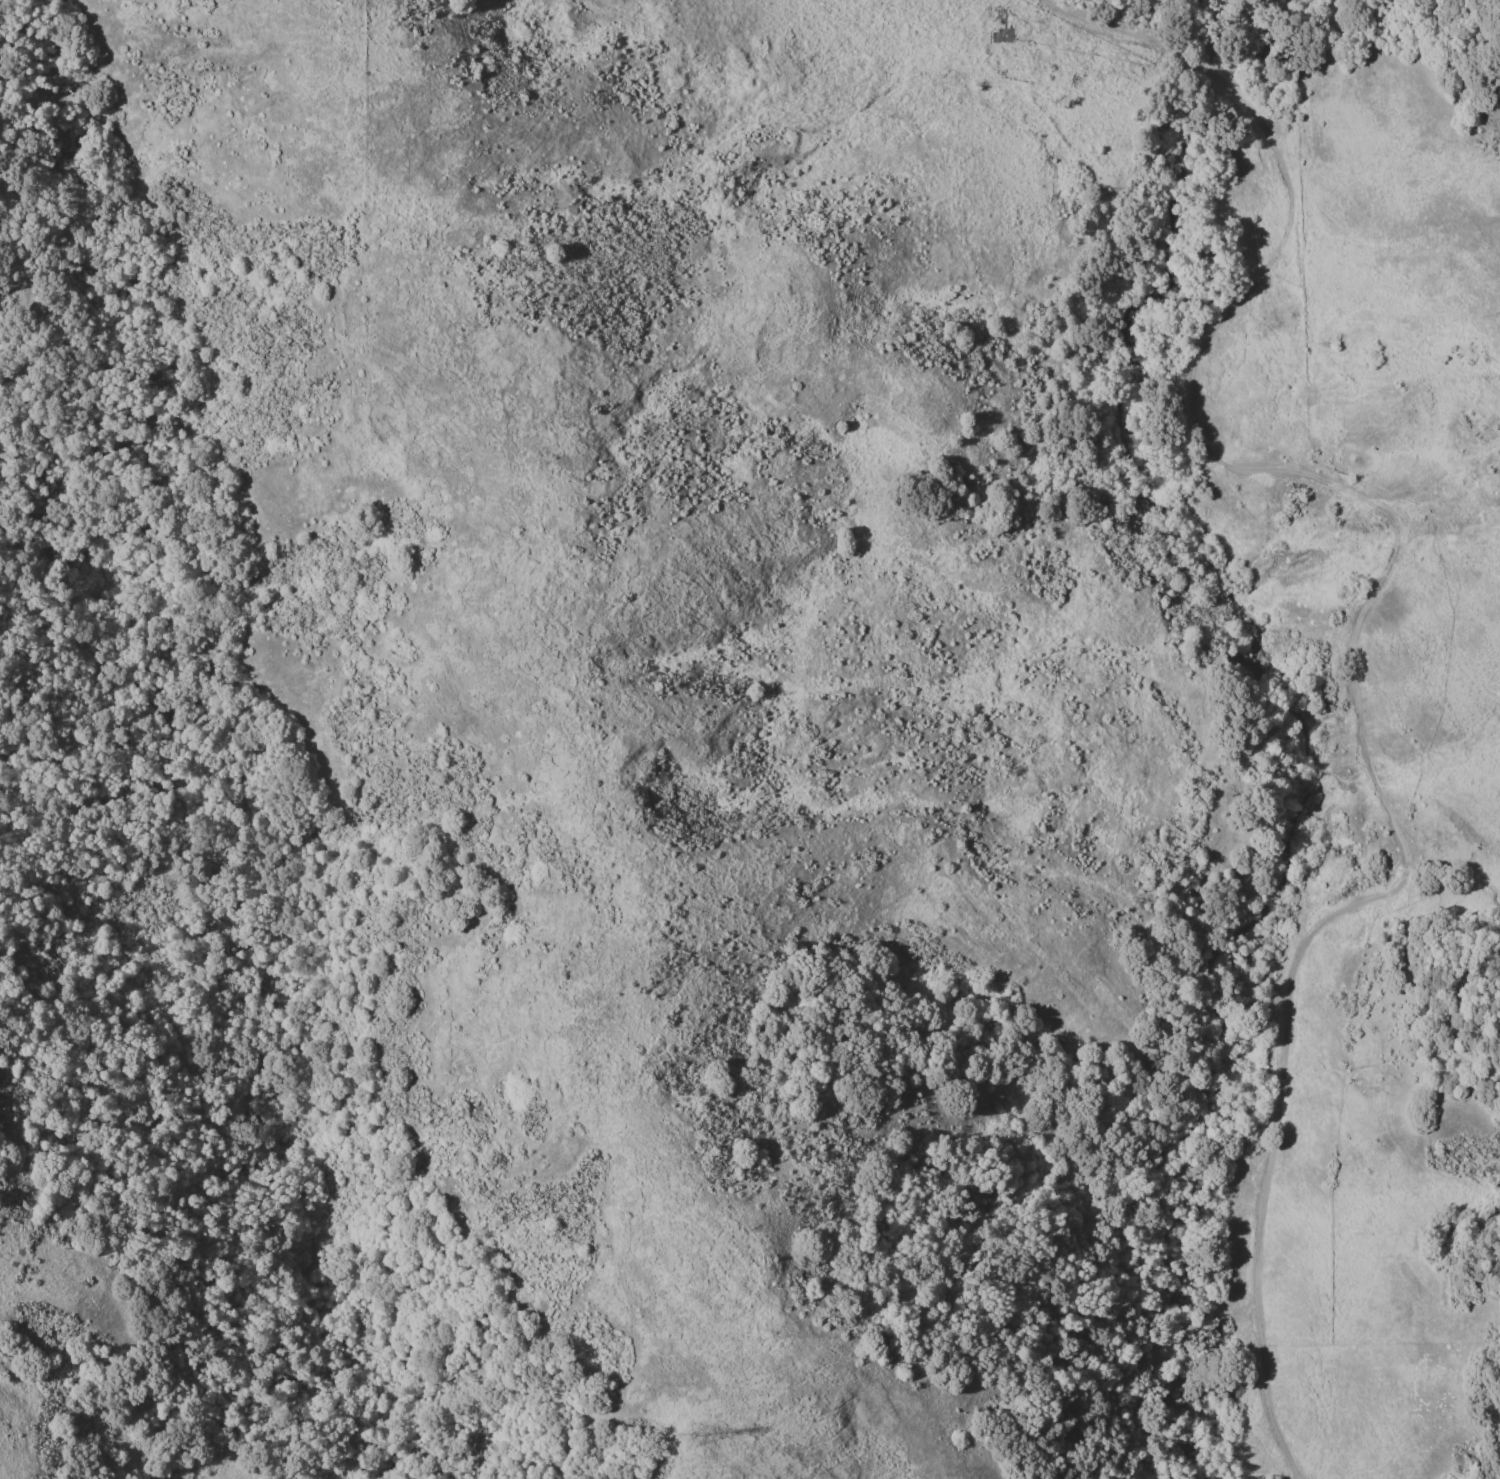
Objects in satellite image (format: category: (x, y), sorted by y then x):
power tower: (689, 1435)

